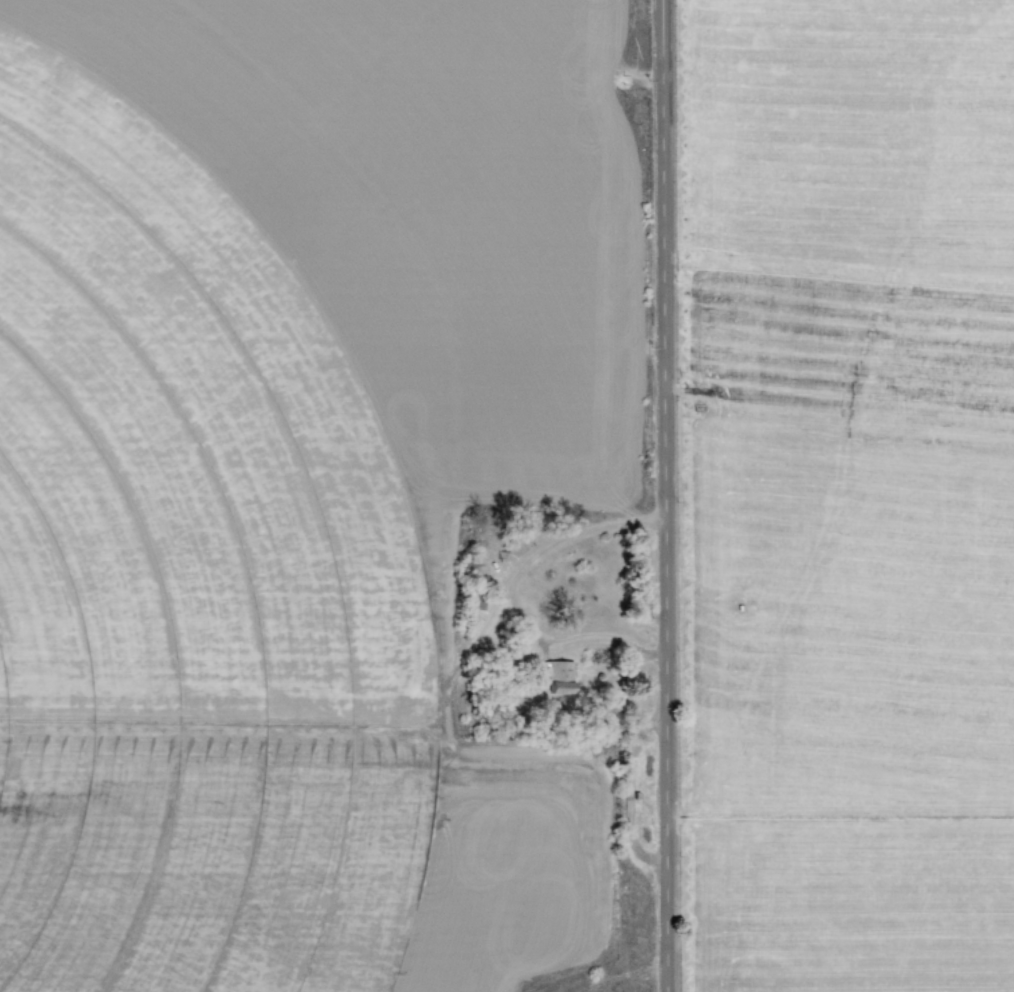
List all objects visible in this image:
road: (659, 495)
building: (561, 676)

